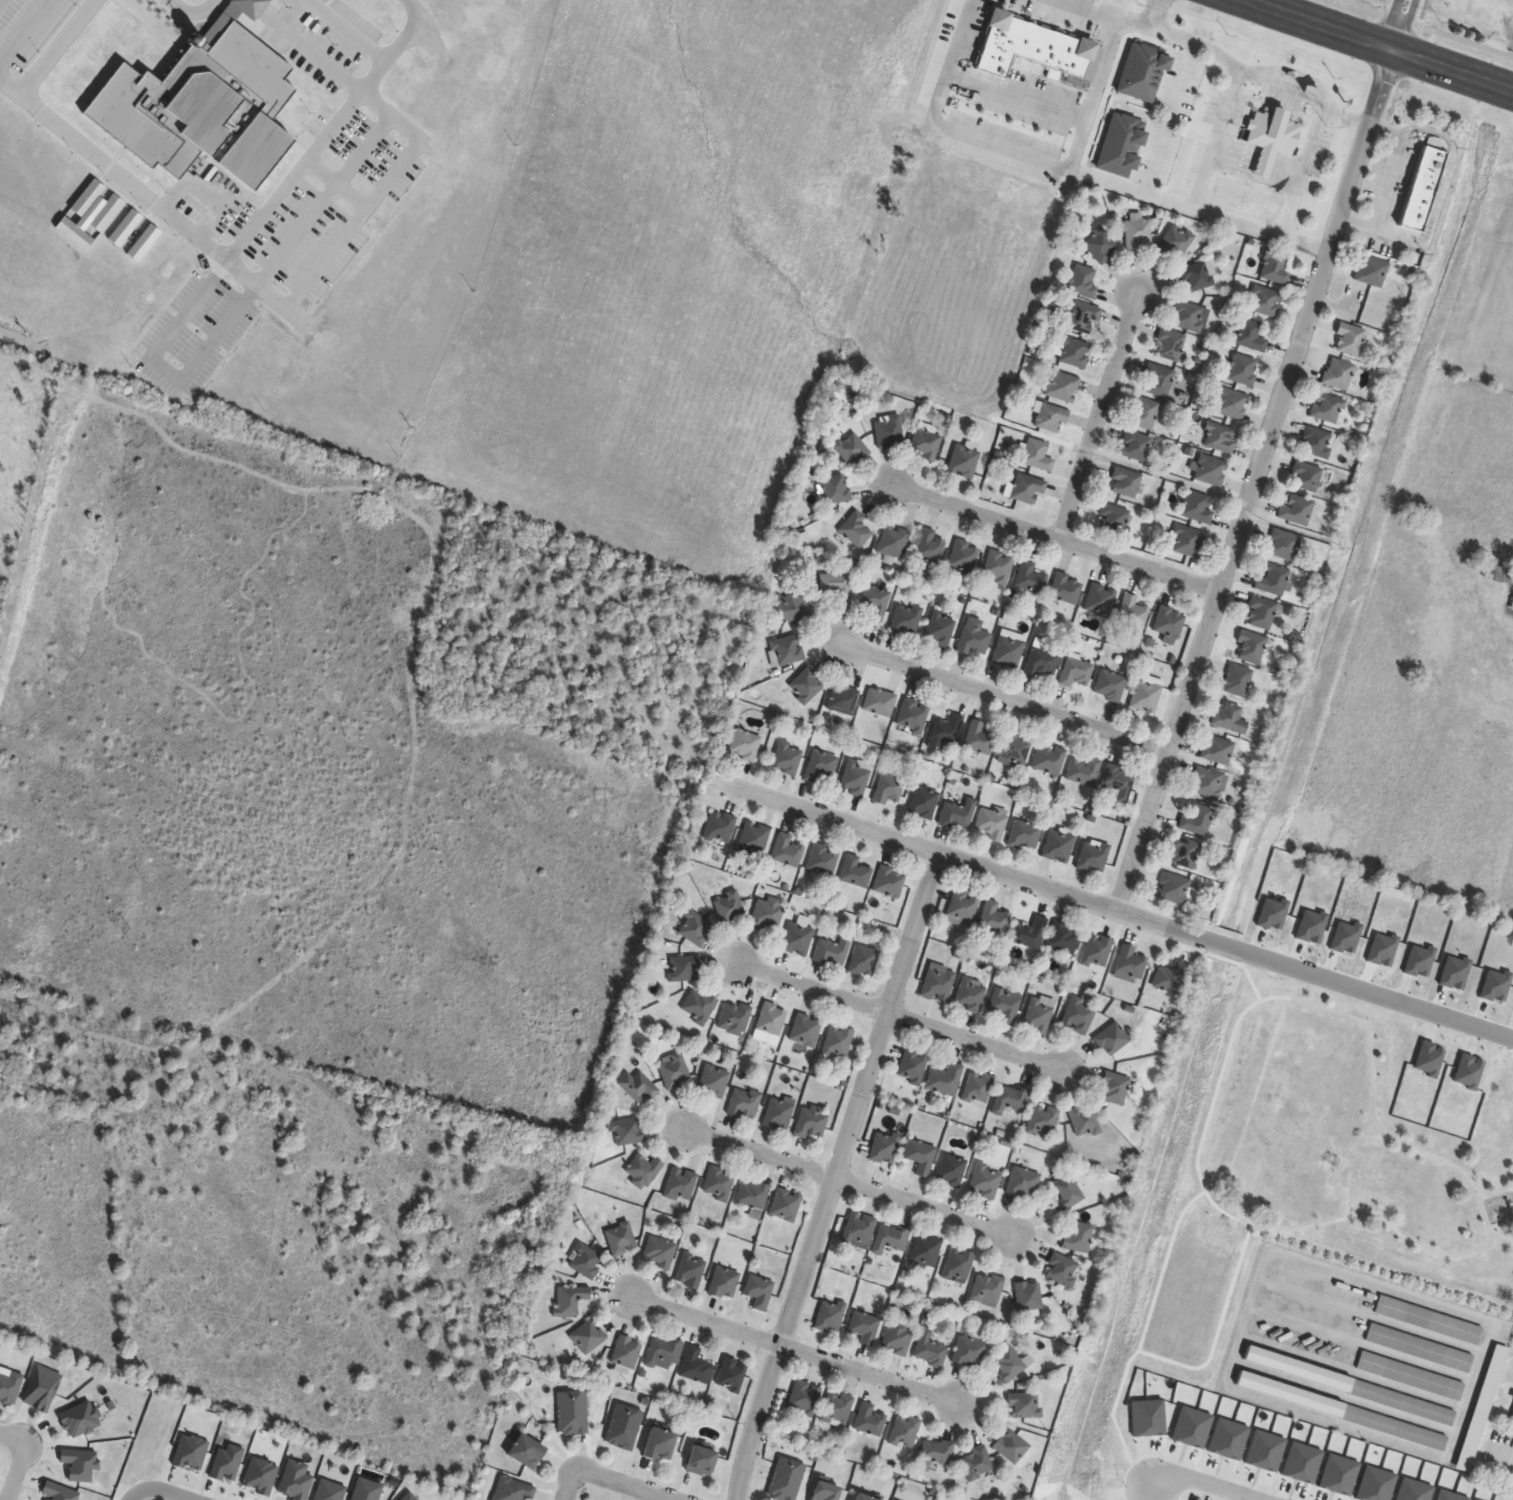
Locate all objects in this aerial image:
road: (1512, 0)
road: (251, 6)
road: (190, 9)
road: (1104, 14)
road: (1406, 22)
road: (1430, 27)
road: (21, 29)
road: (345, 31)
road: (1388, 41)
building: (1049, 64)
building: (1142, 72)
road: (1247, 72)
road: (12, 86)
road: (1014, 97)
road: (327, 132)
road: (1212, 138)
building: (1271, 138)
road: (1015, 152)
road: (1301, 168)
road: (1388, 182)
road: (335, 183)
building: (1421, 188)
road: (321, 199)
road: (1198, 211)
building: (1139, 233)
building: (1177, 241)
building: (1101, 245)
building: (1275, 268)
building: (1371, 272)
building: (1199, 276)
building: (1084, 283)
road: (266, 294)
building: (1265, 302)
building: (1190, 317)
building: (1084, 318)
building: (1251, 336)
building: (1349, 340)
building: (1170, 345)
building: (1074, 352)
road: (163, 367)
building: (1243, 370)
building: (1338, 374)
building: (1159, 380)
building: (1062, 387)
building: (1232, 404)
building: (1328, 409)
road: (1097, 414)
building: (1144, 414)
building: (1049, 417)
building: (889, 431)
building: (1220, 438)
building: (1317, 443)
building: (925, 445)
building: (1136, 447)
building: (853, 448)
building: (1037, 456)
building: (964, 462)
building: (1211, 471)
road: (1252, 476)
building: (1306, 477)
building: (1125, 482)
building: (836, 489)
building: (1027, 489)
building: (1197, 507)
building: (1296, 510)
building: (1115, 519)
building: (856, 530)
road: (1054, 540)
building: (894, 541)
building: (1186, 541)
building: (1284, 545)
building: (930, 547)
building: (964, 558)
building: (998, 567)
building: (1499, 574)
building: (1031, 578)
building: (1273, 581)
building: (837, 587)
building: (1066, 588)
building: (1100, 599)
building: (876, 602)
building: (1512, 607)
building: (794, 609)
building: (1133, 612)
building: (1261, 613)
building: (906, 619)
building: (1170, 622)
building: (941, 629)
building: (974, 638)
building: (1251, 647)
building: (788, 650)
building: (1008, 652)
building: (1076, 672)
building: (1238, 680)
building: (806, 686)
building: (1111, 686)
building: (1147, 694)
road: (1008, 696)
building: (843, 699)
building: (879, 702)
building: (913, 716)
building: (1231, 718)
building: (947, 729)
building: (979, 738)
building: (744, 746)
building: (1014, 749)
building: (1219, 750)
building: (786, 758)
building: (1049, 760)
building: (820, 766)
building: (1084, 772)
building: (855, 777)
building: (1117, 783)
building: (1209, 783)
building: (888, 790)
building: (923, 803)
building: (958, 814)
building: (1197, 820)
building: (992, 822)
building: (719, 827)
building: (1024, 834)
building: (753, 838)
building: (1059, 846)
building: (786, 851)
building: (1185, 852)
building: (1093, 857)
building: (822, 861)
building: (854, 872)
building: (889, 882)
building: (1173, 888)
building: (729, 907)
building: (962, 908)
road: (1111, 910)
building: (767, 914)
building: (994, 918)
building: (695, 928)
building: (1029, 934)
building: (1064, 938)
building: (797, 939)
building: (832, 951)
building: (1098, 951)
building: (863, 960)
building: (1130, 965)
road: (1243, 966)
building: (684, 968)
building: (1172, 979)
building: (938, 983)
building: (970, 995)
building: (699, 1005)
building: (1005, 1005)
building: (1039, 1015)
building: (1079, 1016)
building: (734, 1018)
building: (771, 1019)
road: (904, 1020)
building: (805, 1030)
building: (1112, 1039)
building: (838, 1042)
building: (912, 1066)
road: (1223, 1066)
building: (675, 1071)
building: (945, 1080)
building: (714, 1081)
building: (638, 1086)
building: (978, 1088)
building: (1114, 1088)
building: (1010, 1099)
building: (745, 1103)
building: (779, 1113)
park: (1342, 1118)
building: (1043, 1120)
building: (1085, 1121)
building: (812, 1123)
building: (626, 1132)
building: (885, 1148)
building: (920, 1157)
building: (643, 1170)
building: (951, 1171)
road: (835, 1176)
building: (986, 1180)
road: (849, 1181)
building: (1024, 1183)
building: (680, 1184)
building: (718, 1184)
building: (1067, 1194)
building: (752, 1195)
building: (785, 1205)
building: (858, 1229)
road: (1501, 1236)
building: (621, 1237)
building: (1078, 1237)
building: (891, 1238)
building: (925, 1250)
building: (659, 1252)
building: (585, 1261)
building: (958, 1265)
building: (1062, 1270)
building: (691, 1271)
building: (723, 1283)
building: (987, 1288)
building: (758, 1292)
building: (1029, 1296)
building: (572, 1299)
building: (830, 1316)
building: (1429, 1320)
road: (1145, 1324)
building: (864, 1327)
road: (1218, 1328)
building: (589, 1336)
building: (897, 1338)
building: (1420, 1348)
road: (799, 1350)
building: (930, 1350)
building: (627, 1352)
building: (969, 1352)
building: (664, 1354)
building: (1010, 1363)
building: (696, 1366)
building: (731, 1376)
building: (1411, 1376)
building: (804, 1398)
building: (1402, 1403)
building: (1025, 1405)
building: (1482, 1408)
building: (837, 1409)
building: (573, 1412)
building: (1512, 1417)
building: (870, 1420)
building: (624, 1427)
building: (1394, 1428)
building: (905, 1431)
building: (658, 1444)
building: (1011, 1446)
building: (525, 1452)
building: (936, 1454)
road: (23, 1457)
building: (700, 1461)
building: (977, 1462)
building: (1065, 1475)
building: (786, 1480)
road: (1199, 1483)
road: (570, 1484)
road: (624, 1484)
road: (167, 1490)
building: (512, 1490)
building: (824, 1492)
road: (134, 1495)
building: (861, 1497)

